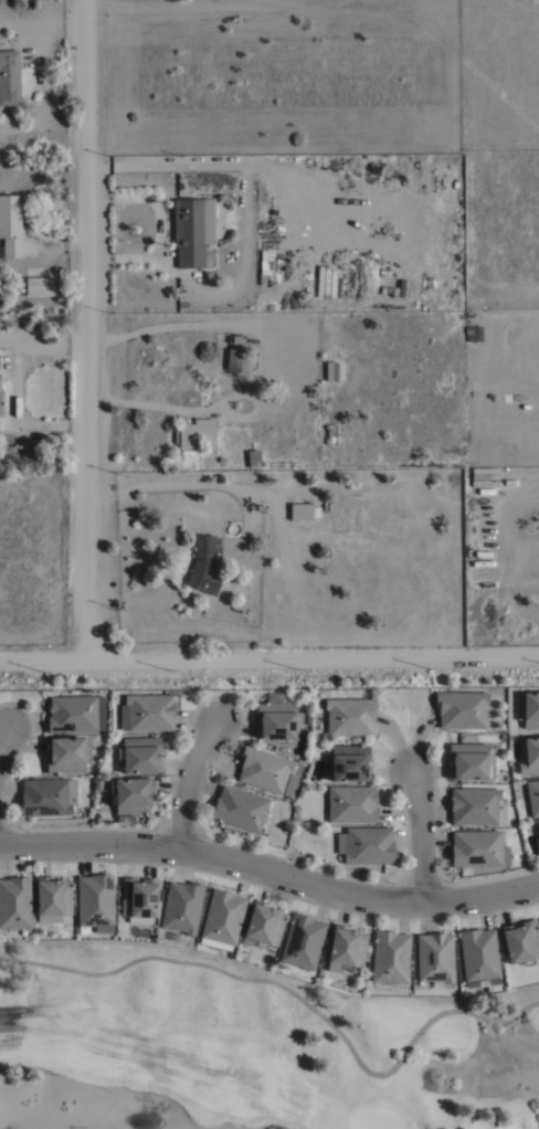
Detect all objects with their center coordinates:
building: (9, 77)
building: (10, 225)
road: (158, 228)
building: (192, 231)
building: (39, 286)
road: (88, 329)
building: (473, 334)
building: (234, 360)
building: (330, 371)
road: (17, 392)
building: (1, 403)
building: (194, 433)
building: (330, 435)
building: (253, 458)
building: (483, 477)
building: (303, 511)
building: (204, 567)
road: (269, 657)
building: (461, 708)
building: (530, 709)
building: (149, 711)
building: (73, 714)
building: (349, 716)
building: (275, 719)
road: (2, 734)
building: (66, 753)
building: (140, 753)
building: (530, 755)
building: (467, 760)
building: (347, 762)
building: (265, 771)
road: (188, 787)
building: (131, 795)
building: (45, 796)
building: (532, 796)
building: (350, 803)
building: (474, 805)
building: (239, 808)
building: (537, 832)
road: (420, 838)
building: (366, 845)
building: (478, 848)
road: (269, 874)
building: (138, 898)
building: (53, 900)
building: (14, 903)
building: (95, 903)
building: (182, 906)
building: (222, 917)
building: (263, 925)
building: (302, 941)
building: (520, 943)
building: (345, 949)
building: (434, 957)
building: (478, 957)
building: (389, 958)
park: (250, 1049)

